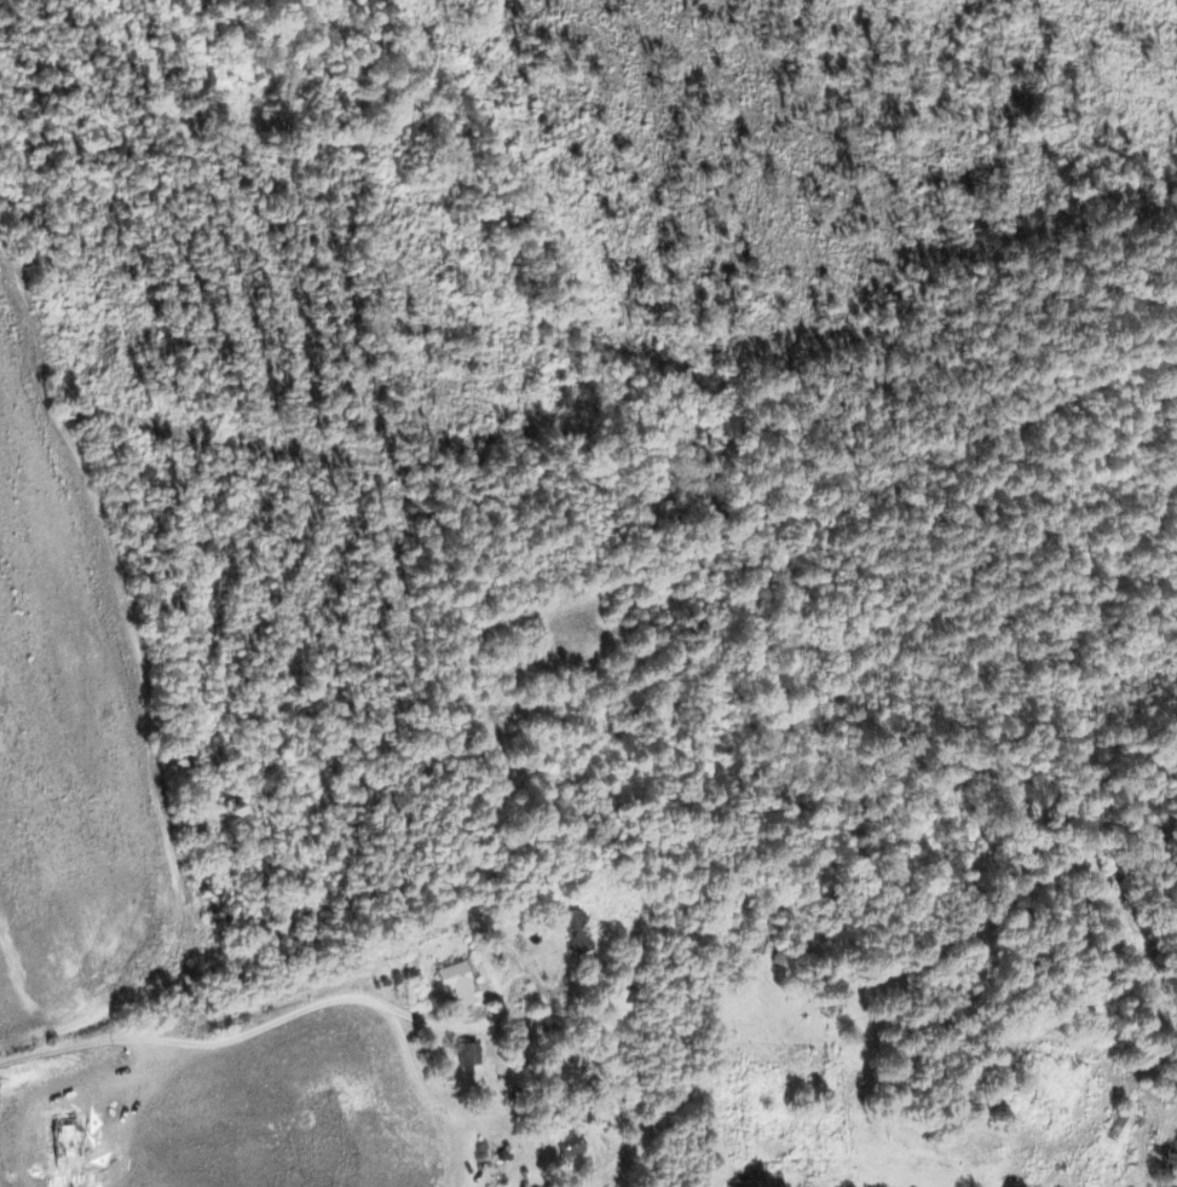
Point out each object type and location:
building: (576, 930)
road: (391, 945)
building: (456, 981)
building: (468, 1053)
building: (570, 1145)

